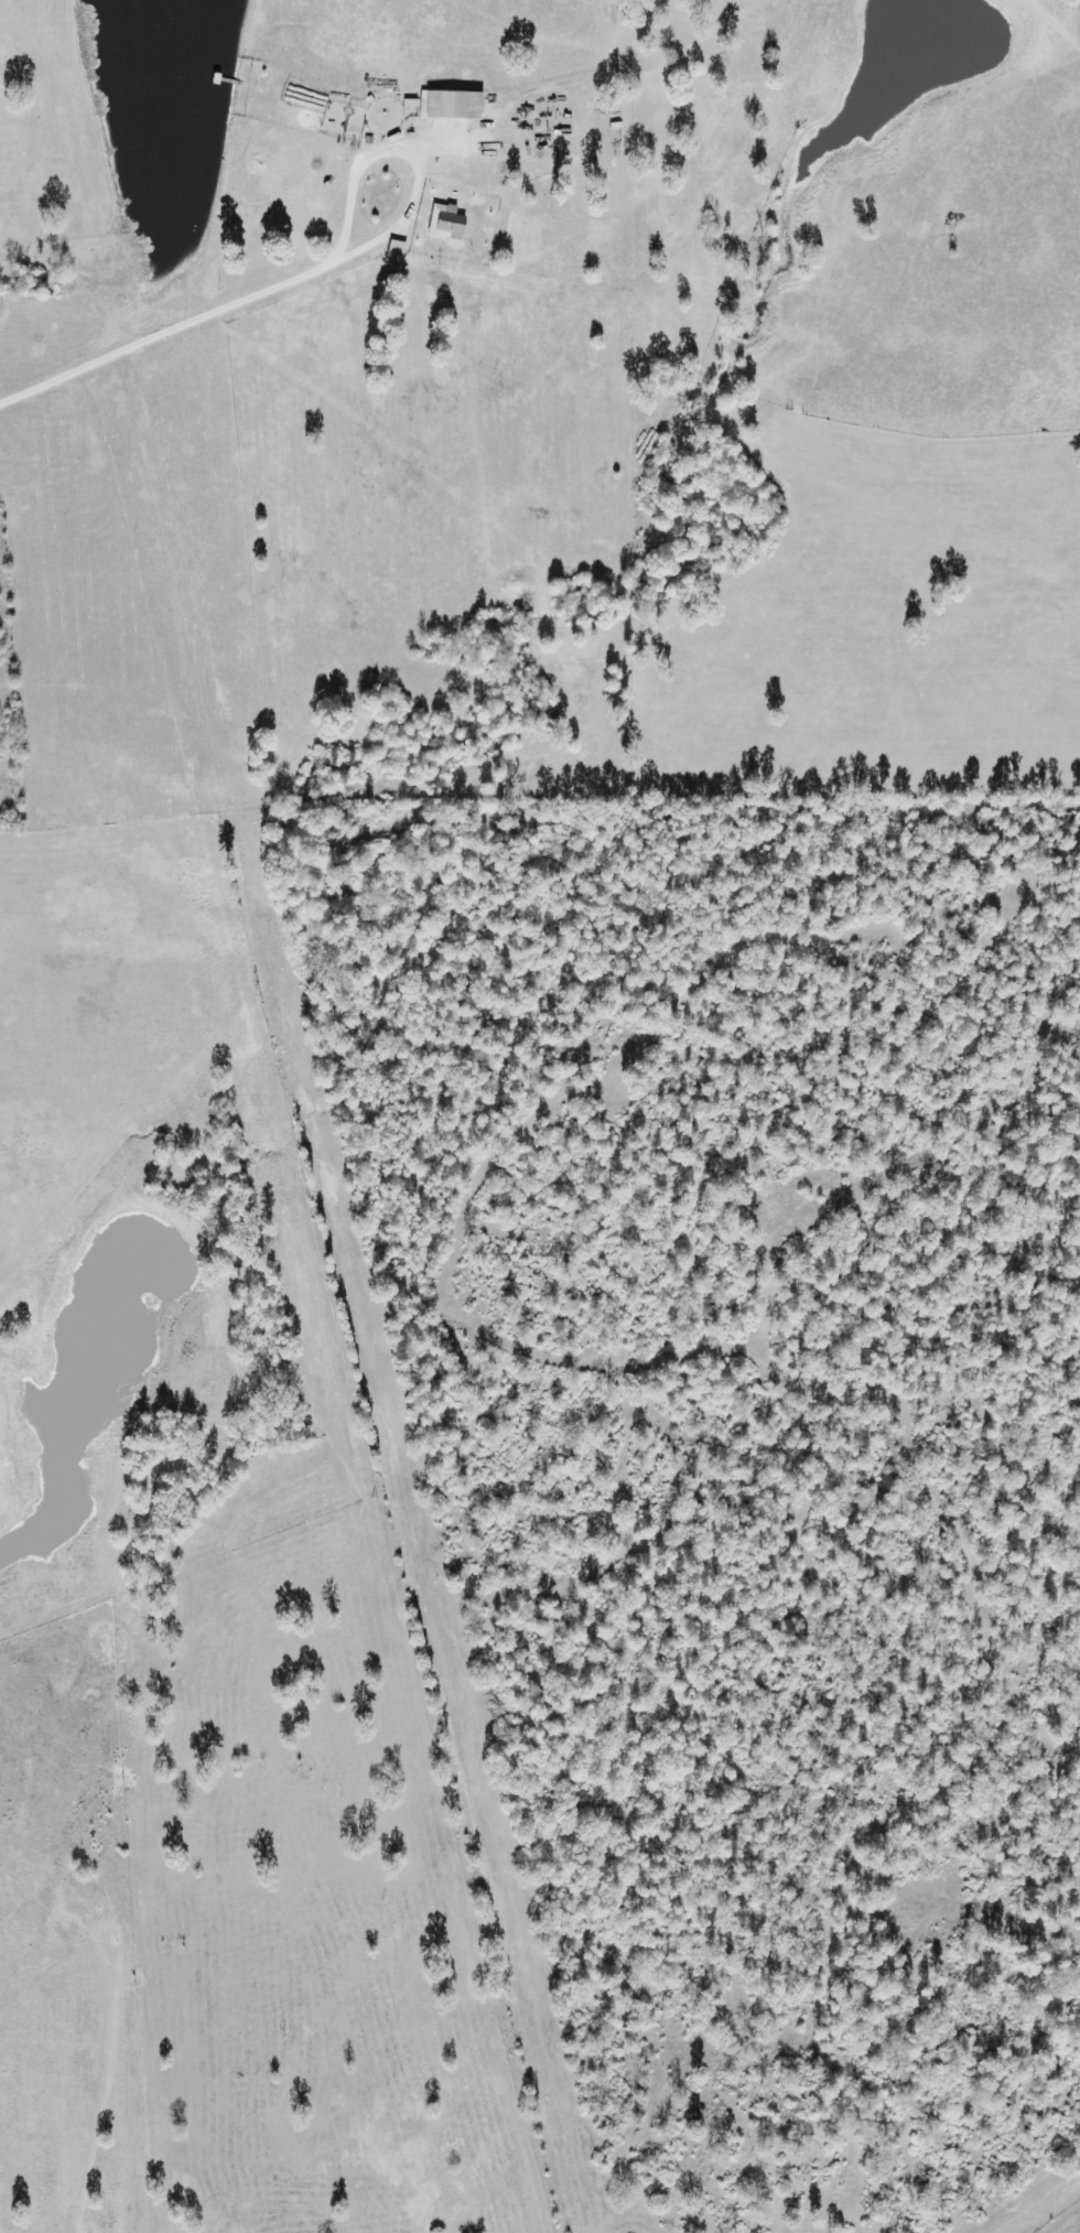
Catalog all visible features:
building: (8, 106)
building: (445, 224)

